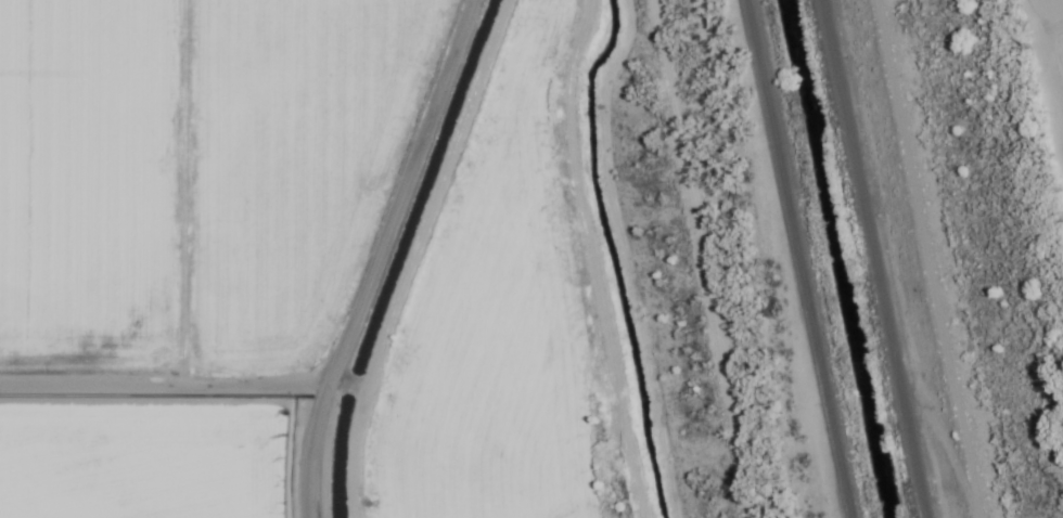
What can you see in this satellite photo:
river: (1059, 21)
crop: (187, 237)
road: (366, 256)
road: (799, 259)
road: (924, 259)

